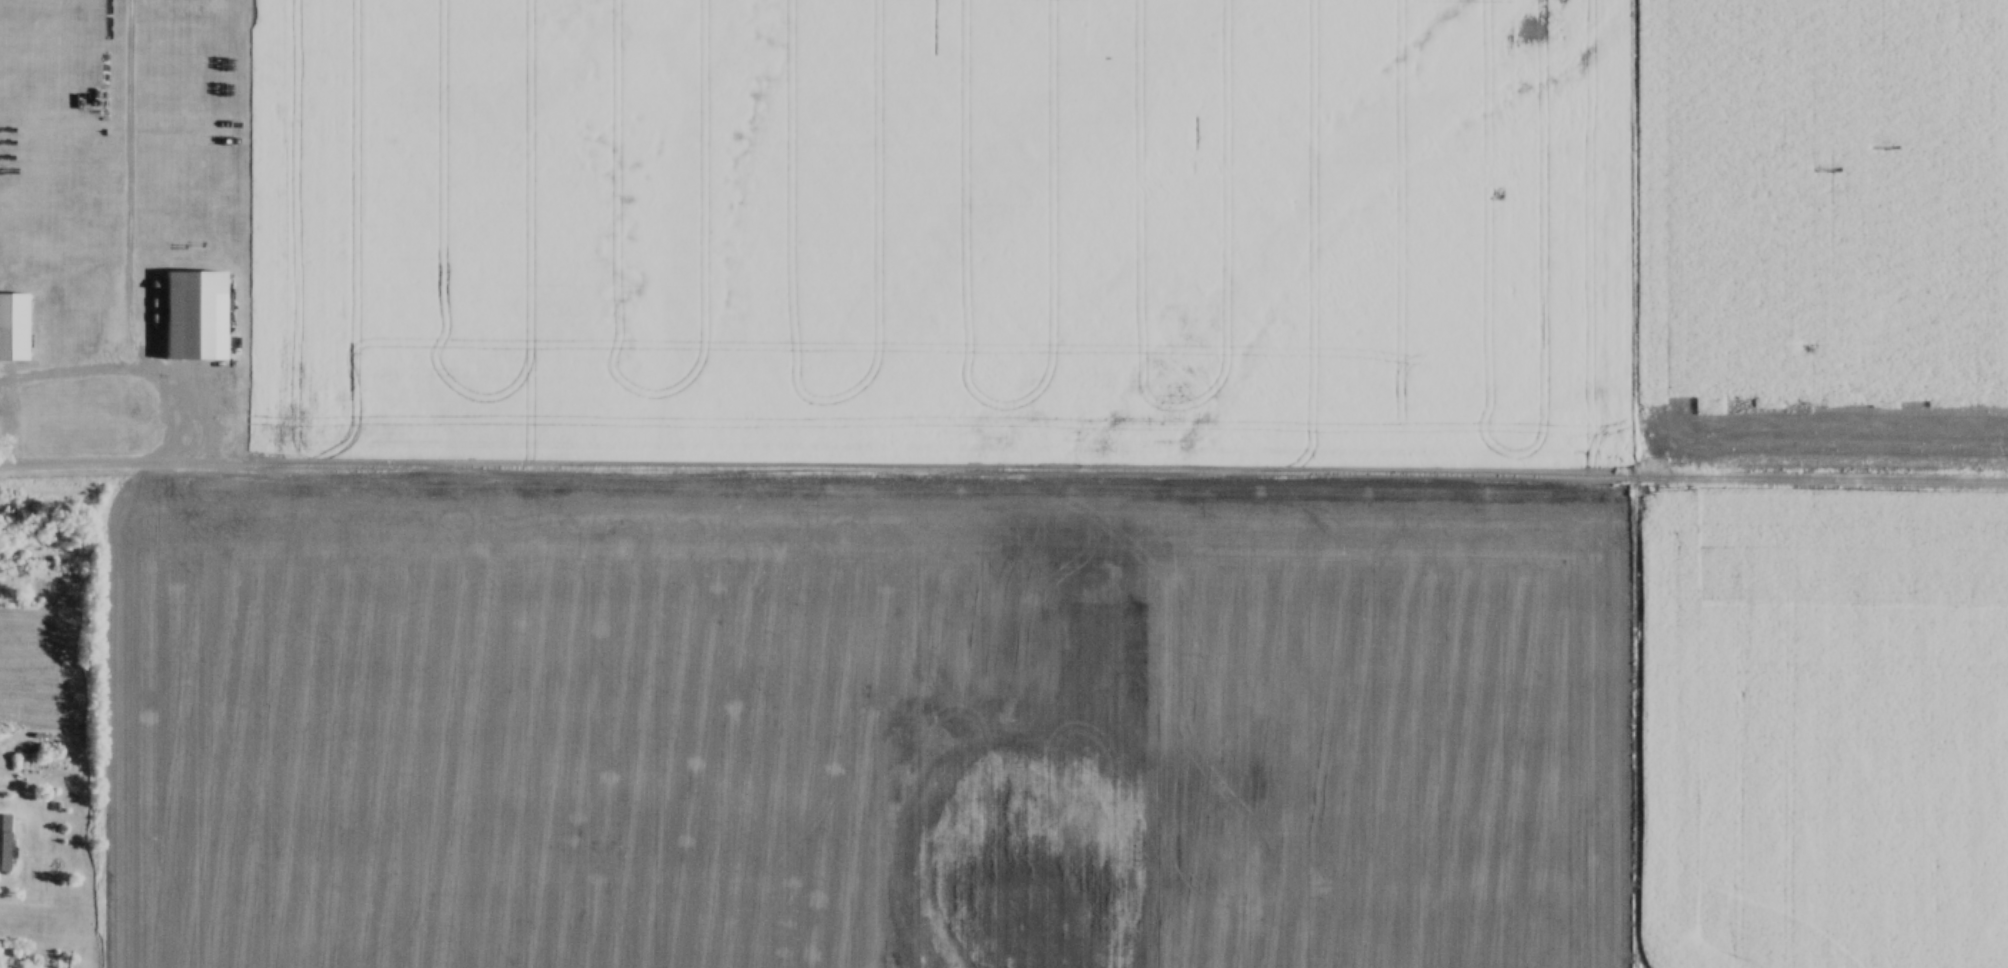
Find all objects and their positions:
building: (192, 315)
building: (12, 326)
road: (1003, 476)
building: (0, 806)
building: (2, 840)

